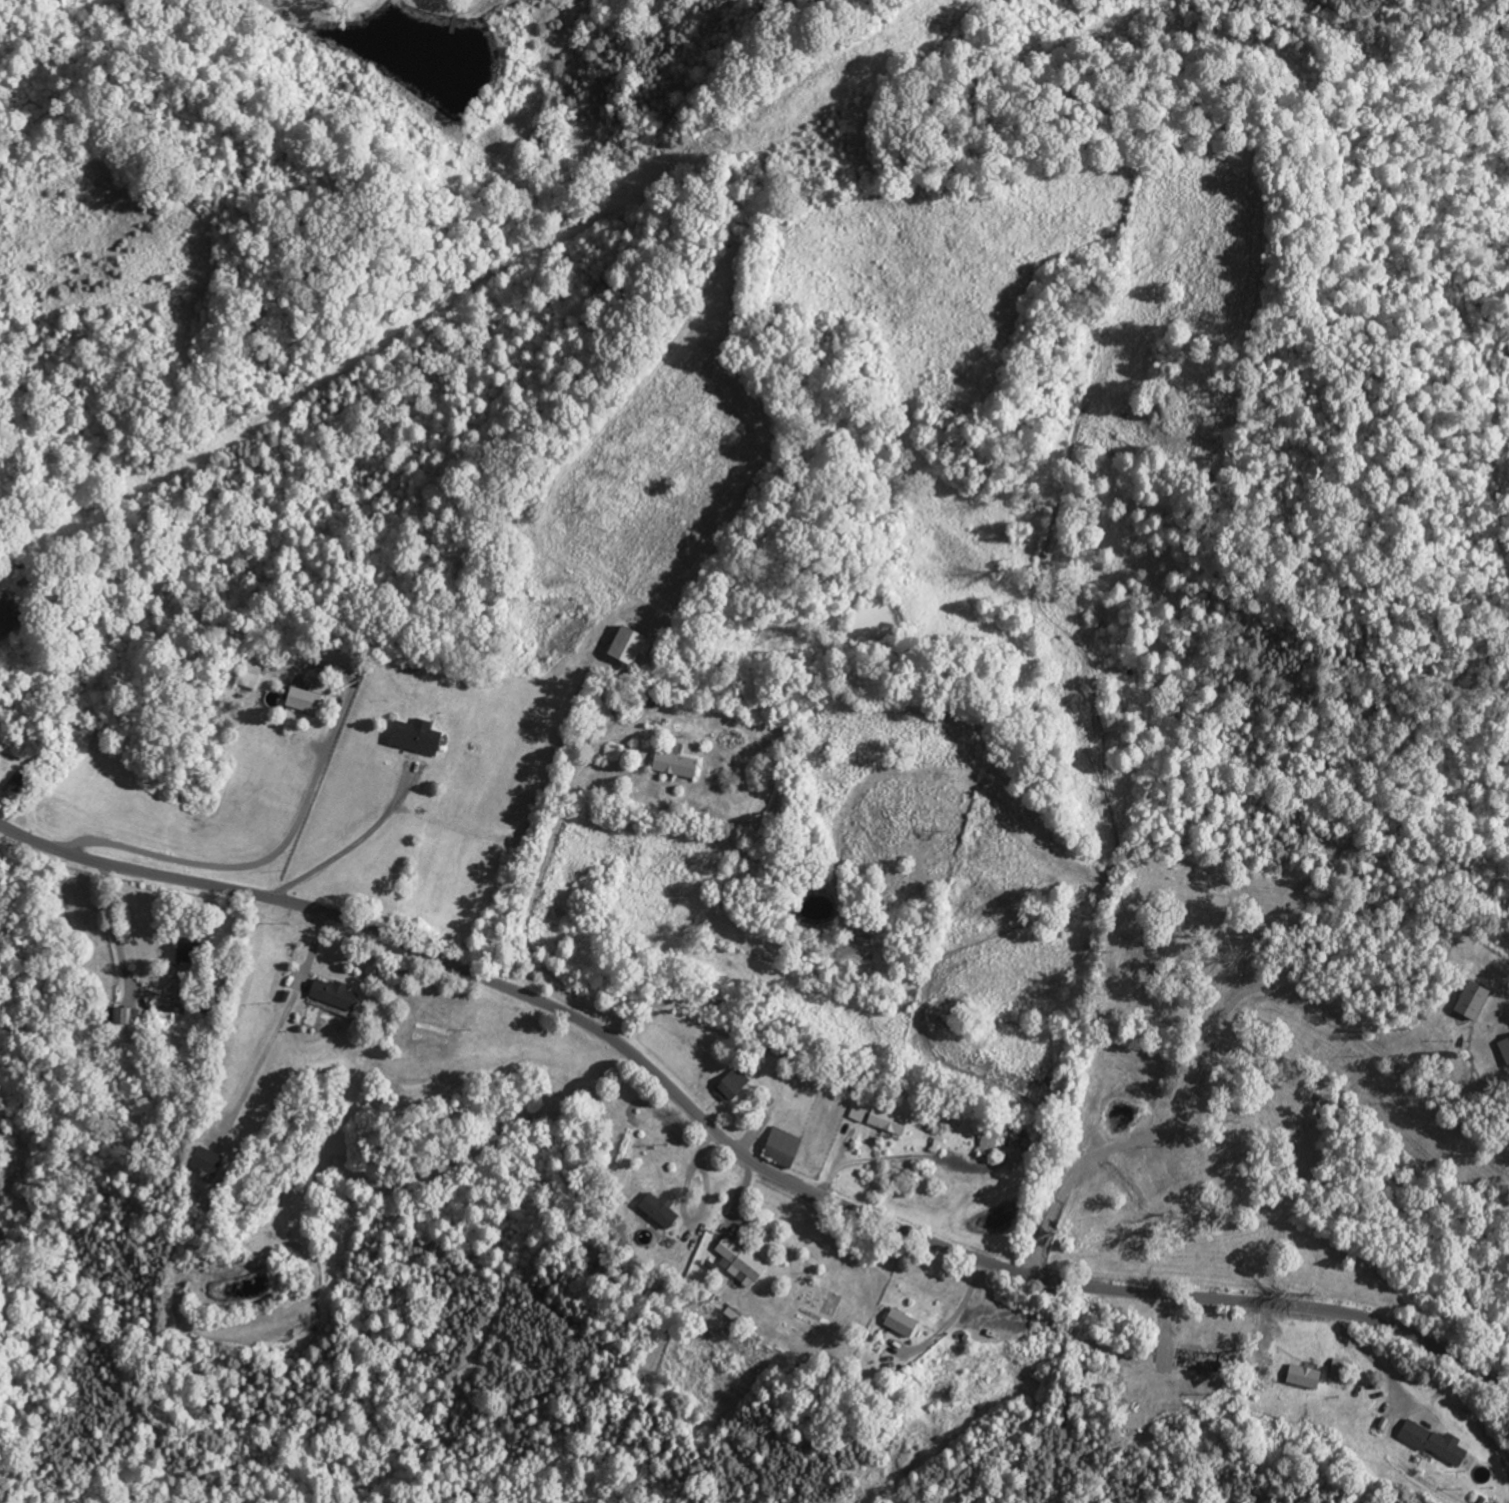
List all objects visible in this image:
building: (6, 617)
building: (628, 647)
building: (249, 674)
building: (301, 701)
building: (414, 738)
building: (672, 764)
building: (13, 787)
road: (348, 843)
road: (246, 865)
road: (107, 931)
building: (184, 956)
building: (333, 995)
road: (281, 1026)
road: (1210, 1029)
building: (1504, 1051)
building: (731, 1086)
building: (858, 1114)
building: (887, 1122)
building: (988, 1144)
building: (781, 1149)
road: (736, 1151)
building: (206, 1165)
building: (658, 1211)
building: (739, 1264)
building: (900, 1323)
road: (1377, 1370)
building: (1303, 1377)
building: (1434, 1443)

